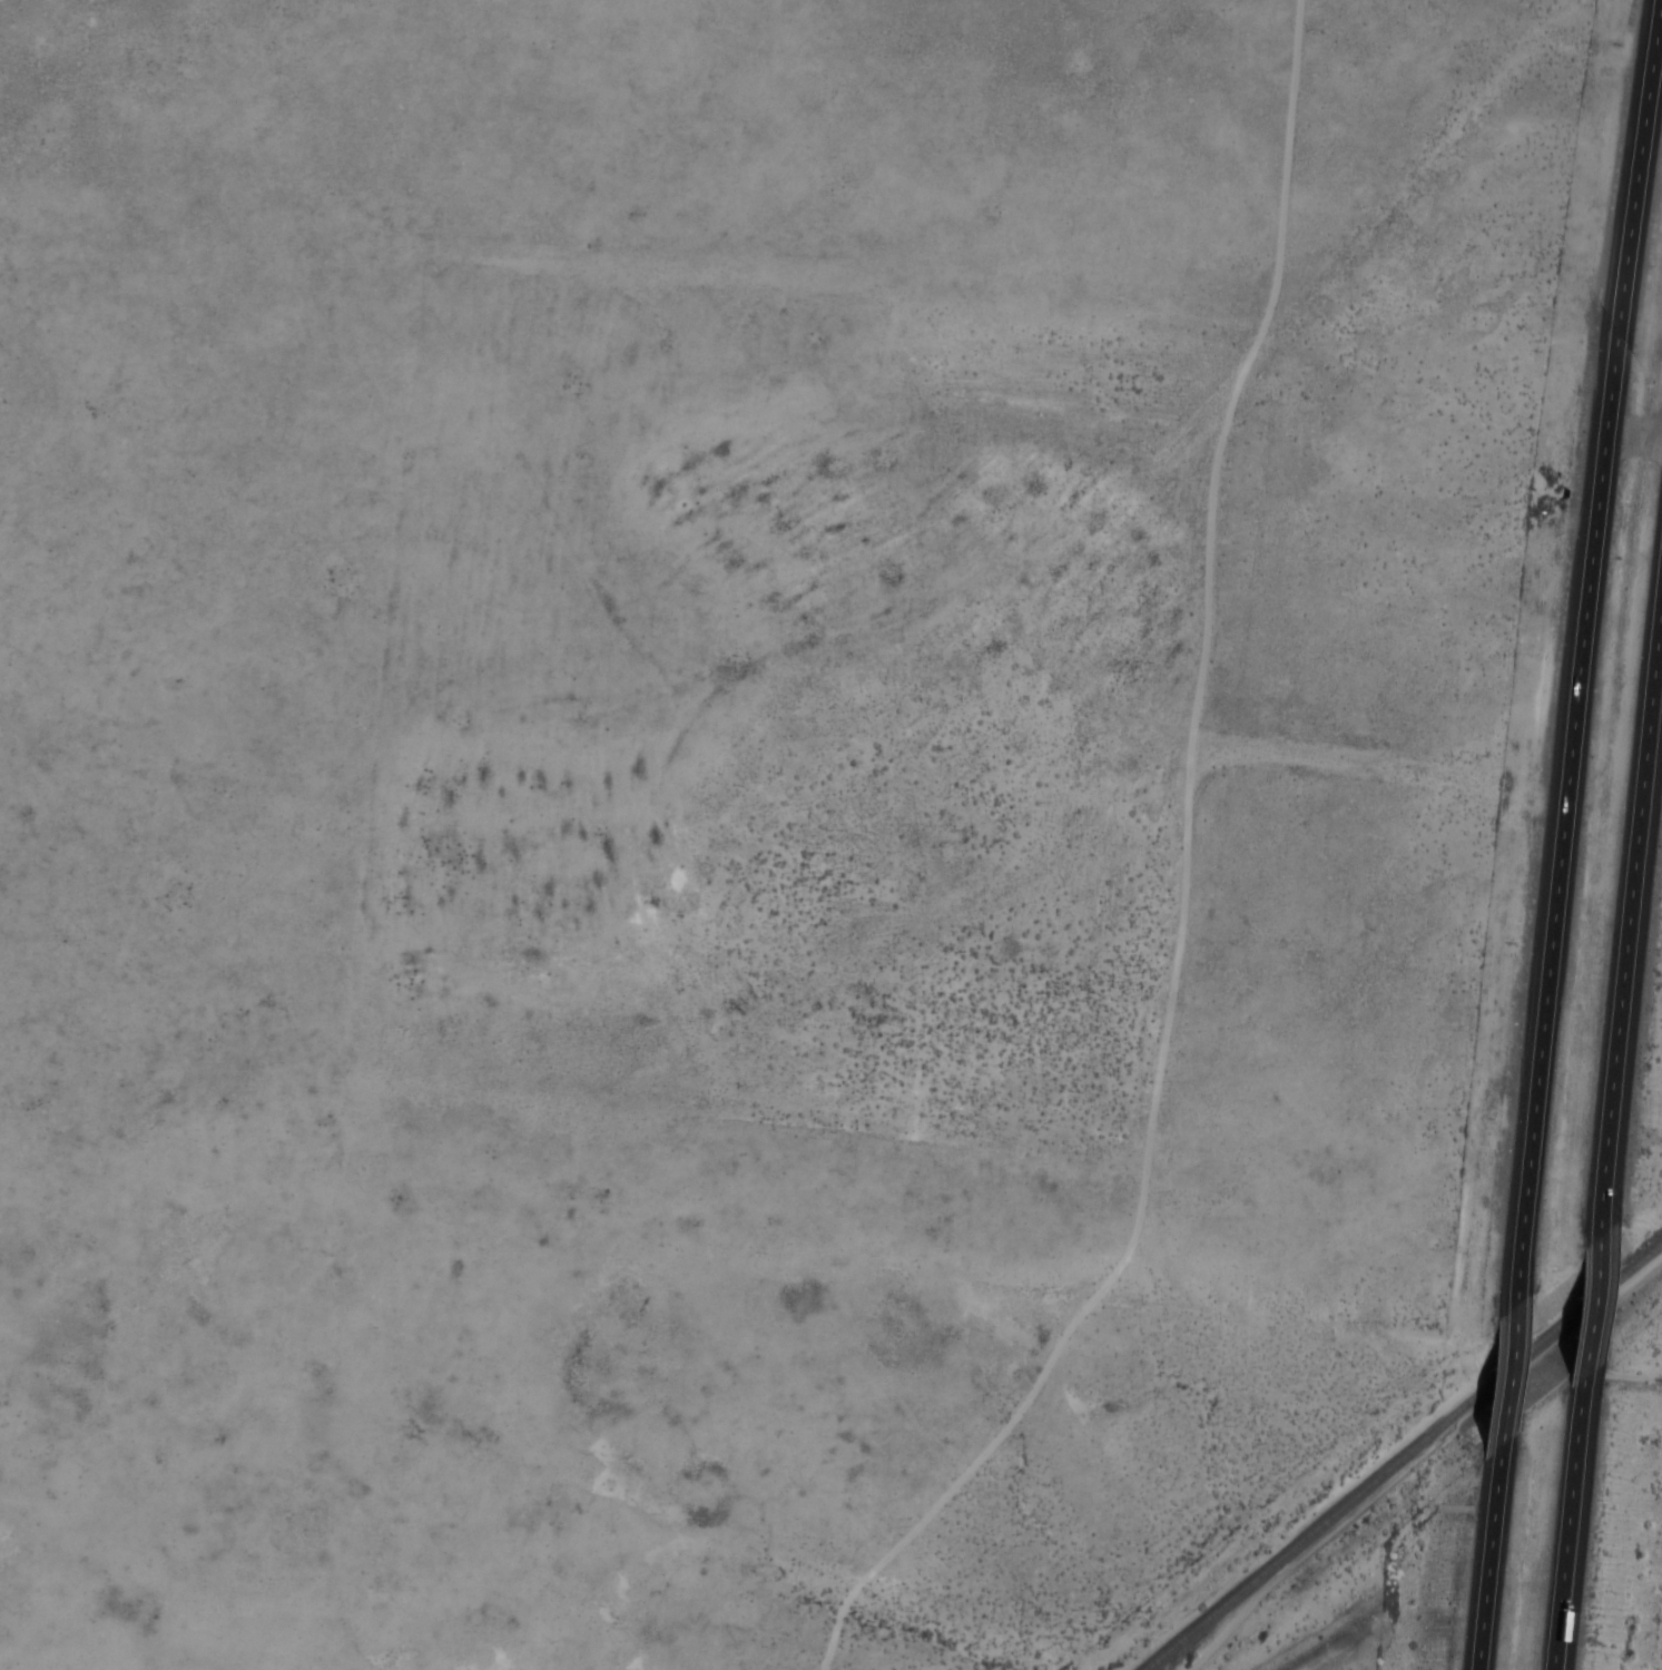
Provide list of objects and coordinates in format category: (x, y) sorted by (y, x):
road: (1580, 676)
road: (1627, 933)
road: (1591, 1314)
road: (1505, 1382)
railway: (1403, 1457)
railway: (1524, 1489)
road: (1568, 1527)
road: (1485, 1562)
quarry: (1658, 1639)

